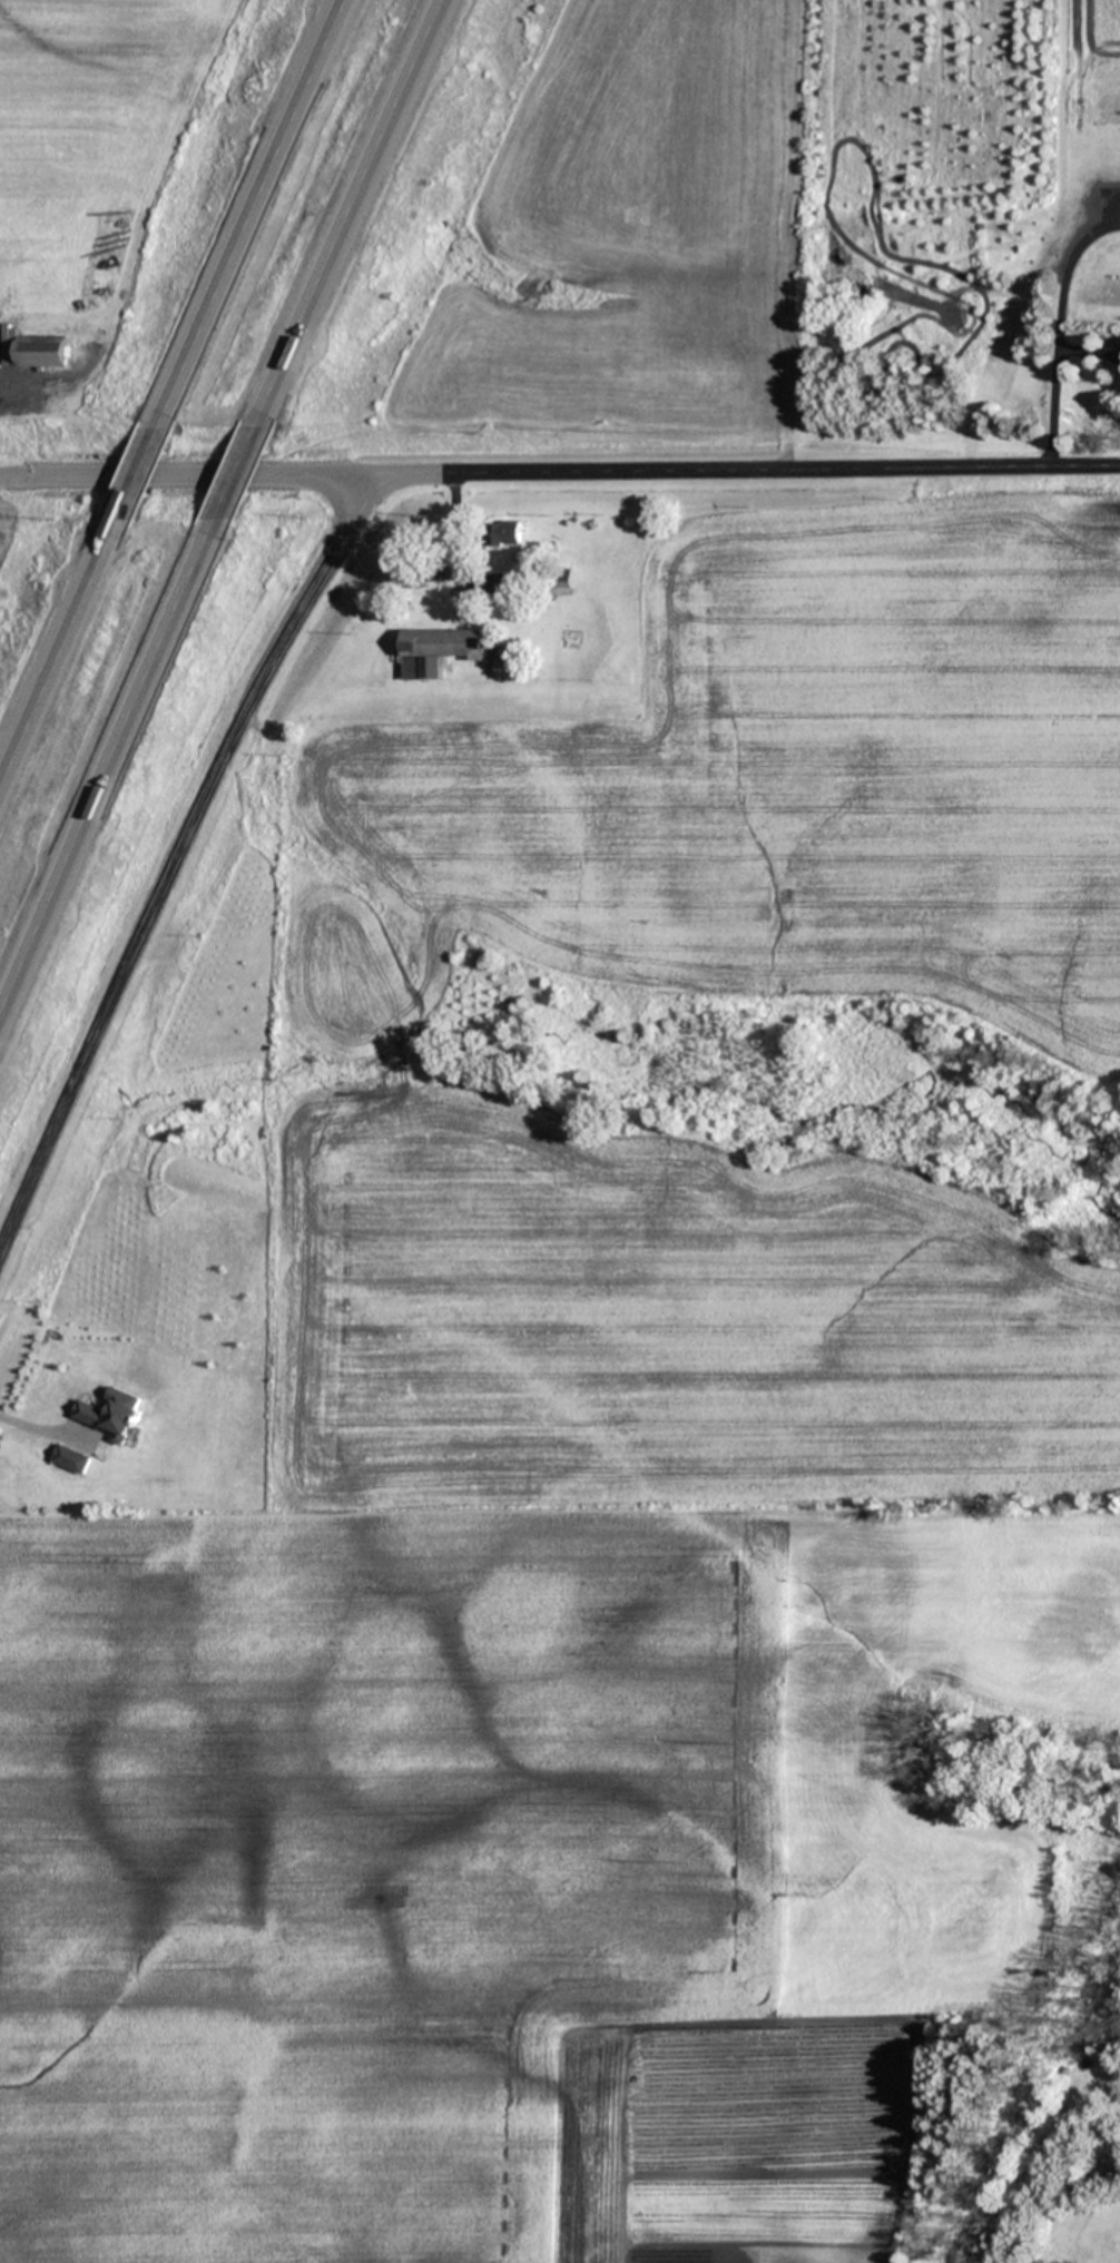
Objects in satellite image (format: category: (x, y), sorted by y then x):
road: (256, 207)
road: (356, 214)
building: (47, 351)
road: (138, 466)
road: (559, 469)
road: (236, 474)
building: (511, 534)
building: (432, 575)
building: (551, 578)
building: (440, 651)
road: (57, 652)
road: (107, 771)
road: (174, 856)
building: (111, 1413)
road: (42, 1433)

